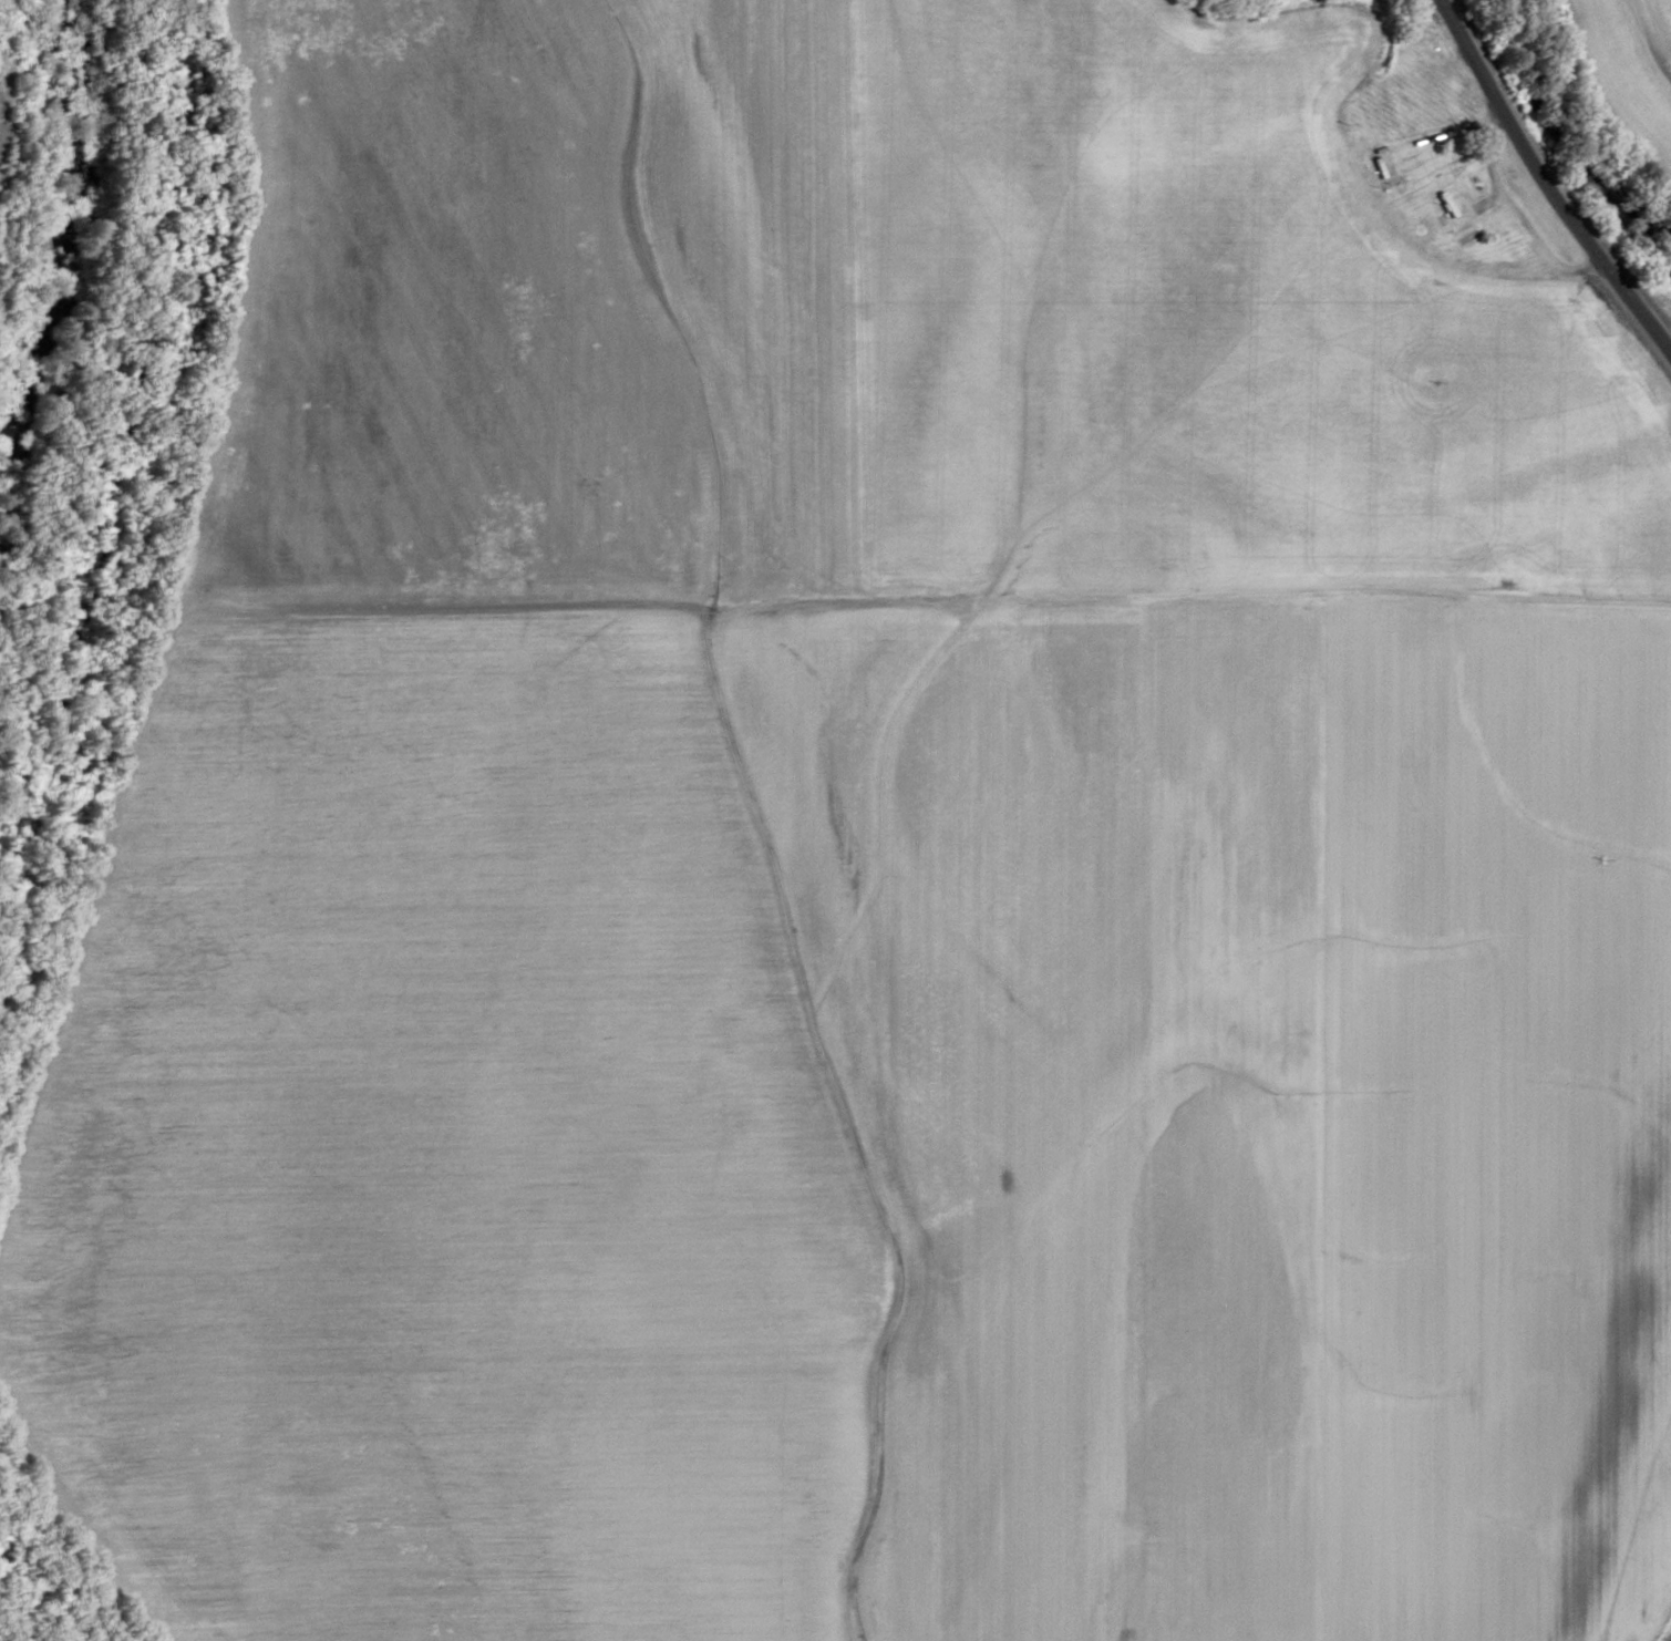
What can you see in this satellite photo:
building: (1388, 179)
building: (1450, 204)
road: (1526, 215)
road: (630, 586)
road: (89, 1524)

